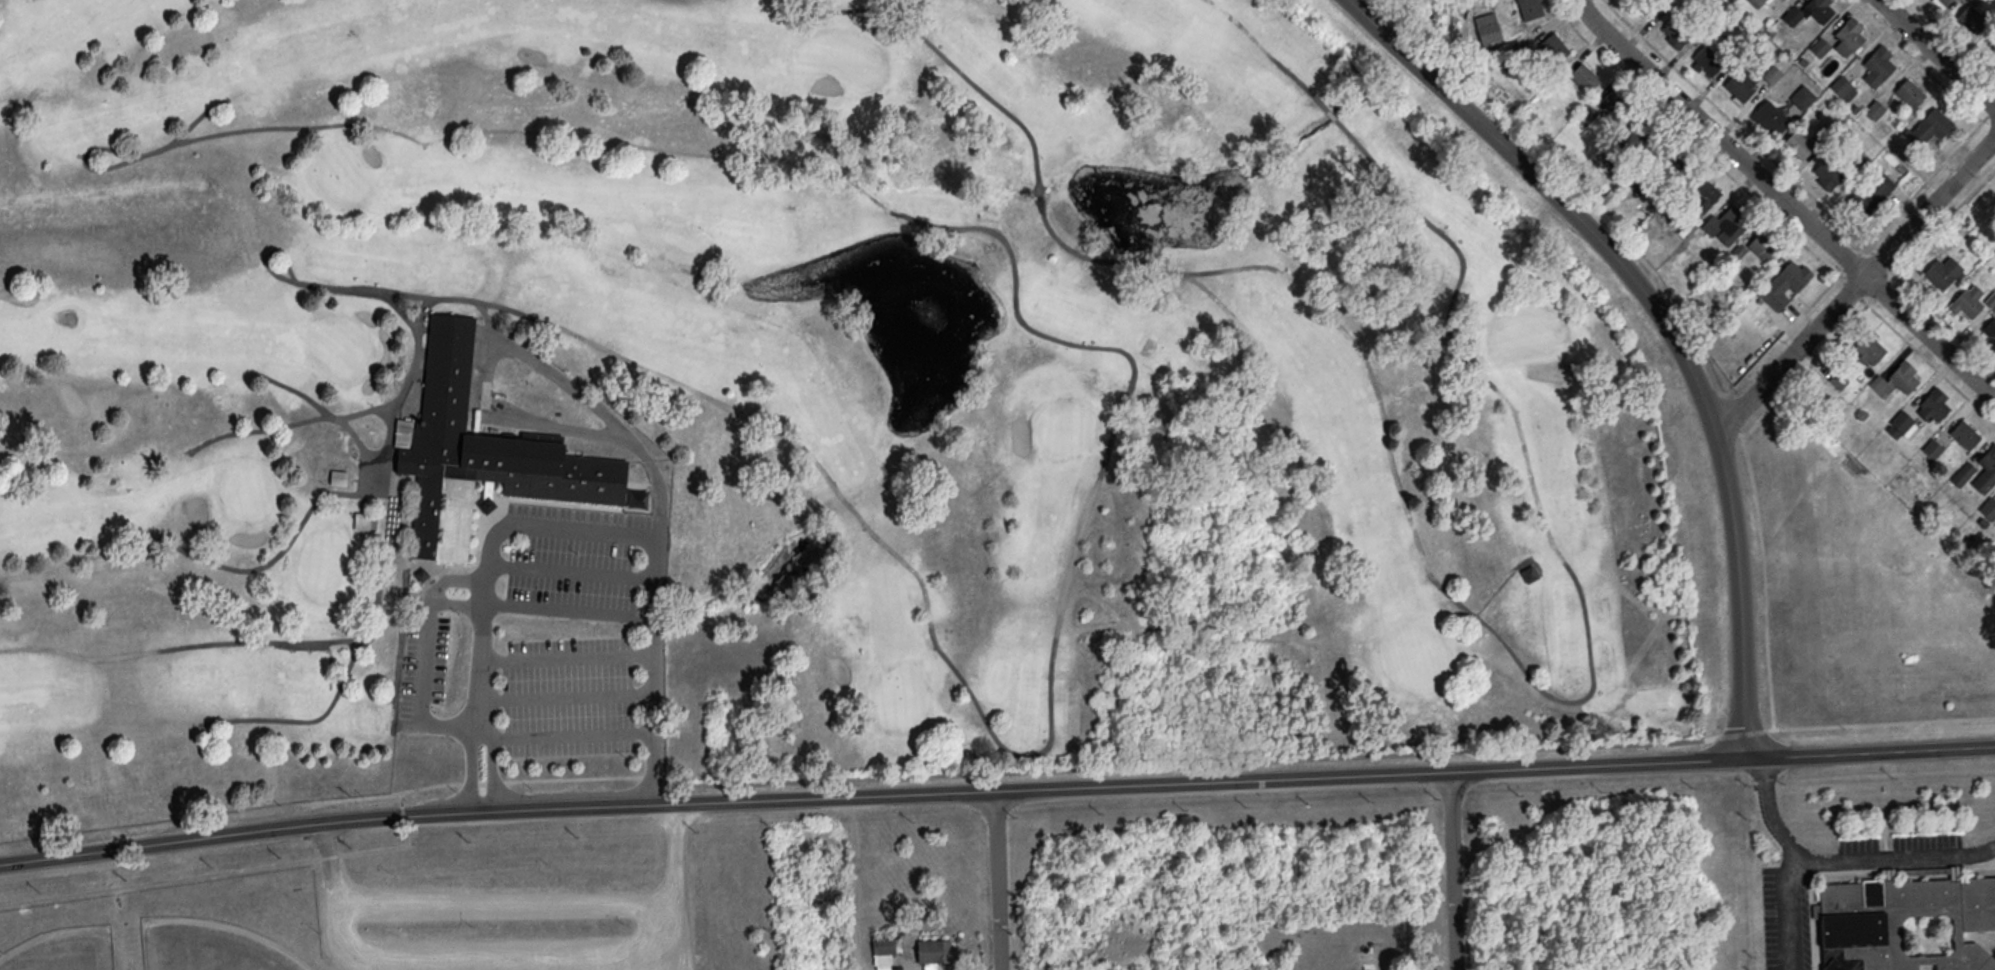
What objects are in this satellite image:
building: (1757, 2)
building: (1942, 2)
building: (1648, 5)
building: (1527, 8)
building: (1810, 11)
building: (1974, 16)
building: (1487, 26)
building: (1674, 34)
building: (1850, 35)
road: (1953, 38)
building: (1554, 46)
building: (1819, 46)
road: (1939, 52)
building: (1705, 61)
building: (1878, 65)
building: (1584, 76)
building: (1739, 85)
building: (1842, 87)
building: (1909, 92)
building: (1802, 96)
building: (1614, 104)
building: (1874, 108)
road: (1988, 113)
building: (1770, 117)
road: (1980, 118)
road: (1738, 125)
building: (1931, 125)
road: (1694, 140)
building: (1798, 144)
building: (1656, 146)
building: (1826, 174)
building: (1873, 192)
building: (1698, 198)
road: (1788, 199)
park: (1983, 207)
road: (1945, 219)
building: (1724, 226)
building: (1762, 247)
road: (1881, 259)
road: (1852, 260)
building: (1944, 273)
building: (1786, 283)
road: (1881, 287)
road: (1852, 289)
road: (1855, 289)
road: (1816, 298)
building: (1967, 301)
road: (1945, 319)
road: (1659, 320)
road: (1796, 323)
building: (1990, 333)
building: (1870, 348)
road: (519, 350)
road: (1931, 363)
road: (1805, 370)
building: (1896, 379)
park: (779, 402)
building: (1933, 405)
building: (1903, 422)
building: (1965, 434)
building: (1932, 447)
building: (481, 455)
building: (1986, 470)
building: (1963, 473)
building: (338, 477)
building: (1988, 508)
building: (361, 522)
road: (604, 531)
parking lot: (559, 554)
road: (570, 570)
road: (1764, 571)
building: (1526, 574)
road: (457, 603)
road: (568, 609)
road: (426, 655)
road: (567, 657)
parking lot: (563, 685)
road: (1878, 723)
road: (1740, 732)
road: (568, 734)
road: (481, 737)
road: (1187, 764)
road: (478, 781)
road: (996, 789)
road: (400, 798)
road: (482, 806)
road: (402, 814)
road: (1770, 833)
parking lot: (1900, 844)
road: (383, 848)
road: (329, 856)
road: (1844, 859)
road: (1983, 861)
building: (1843, 866)
road: (1902, 867)
road: (1457, 868)
road: (1001, 879)
road: (160, 880)
road: (857, 883)
park: (421, 902)
road: (504, 905)
road: (1792, 908)
parking lot: (1778, 917)
road: (1813, 922)
parking lot: (508, 929)
building: (883, 949)
building: (935, 949)
park: (206, 950)
park: (67, 953)
road: (513, 962)

